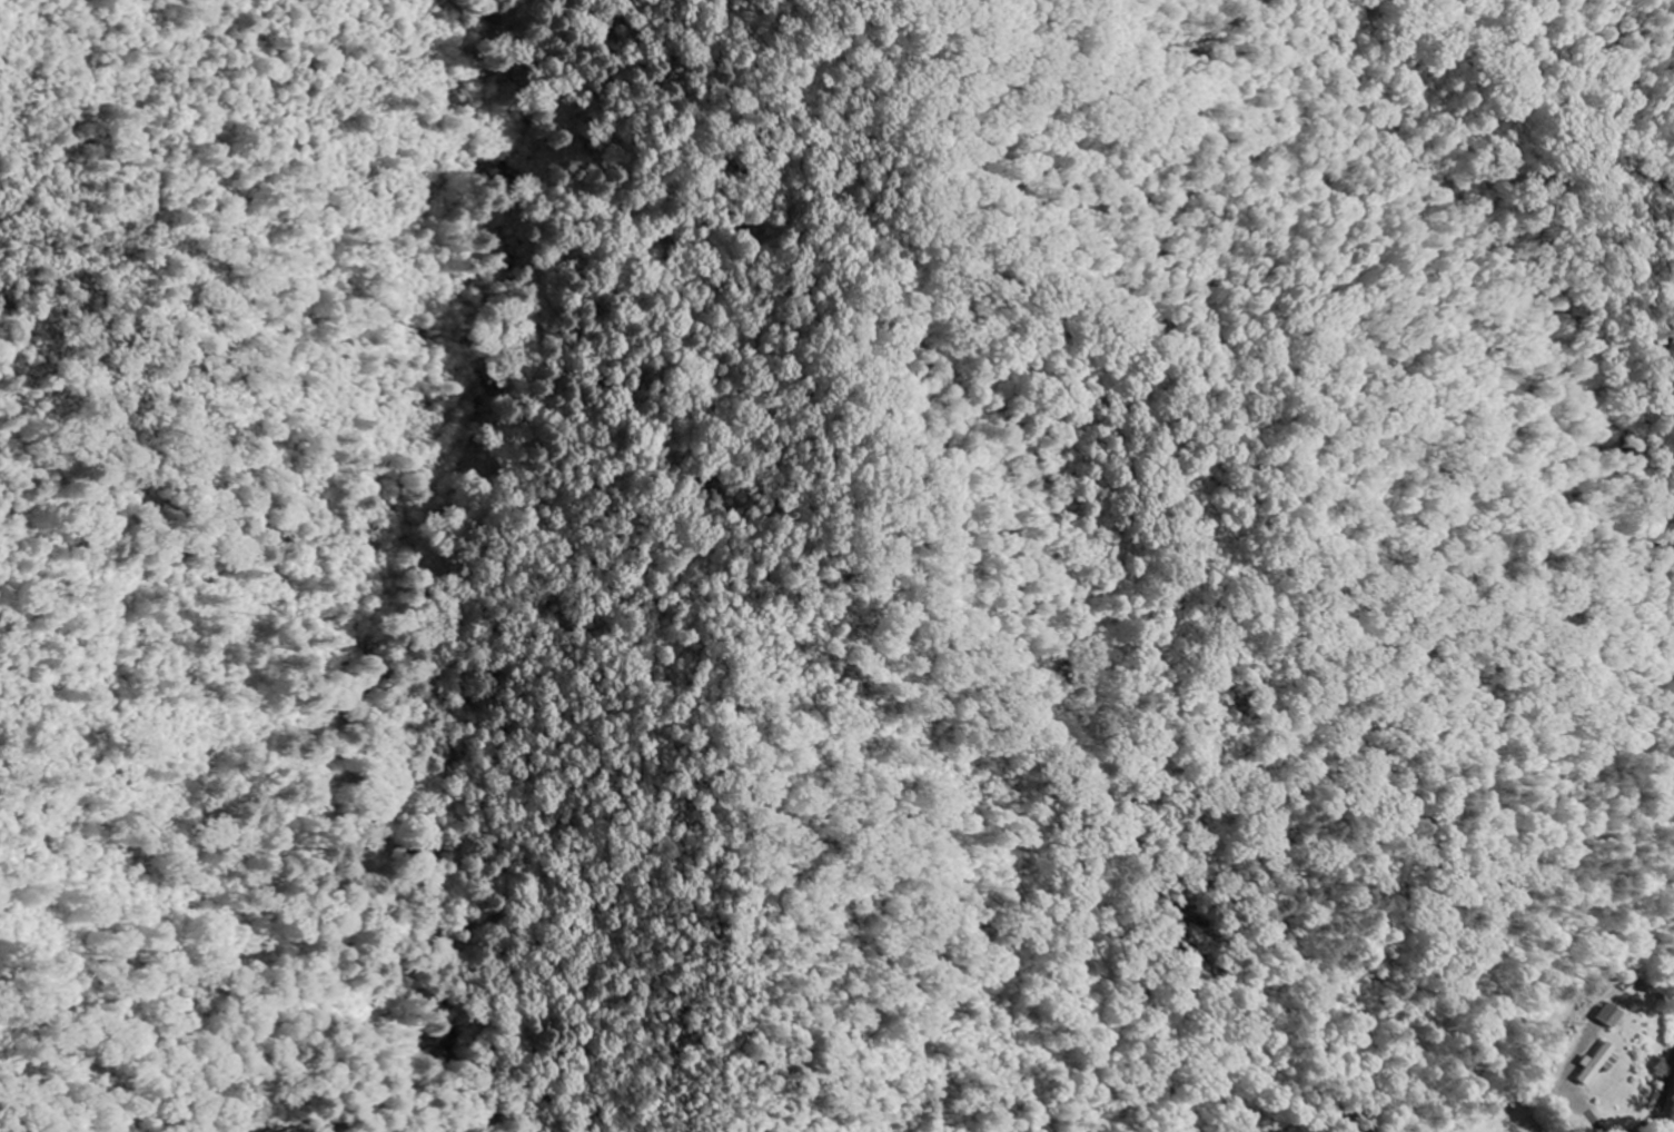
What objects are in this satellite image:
building: (1617, 1014)
building: (1603, 1062)

